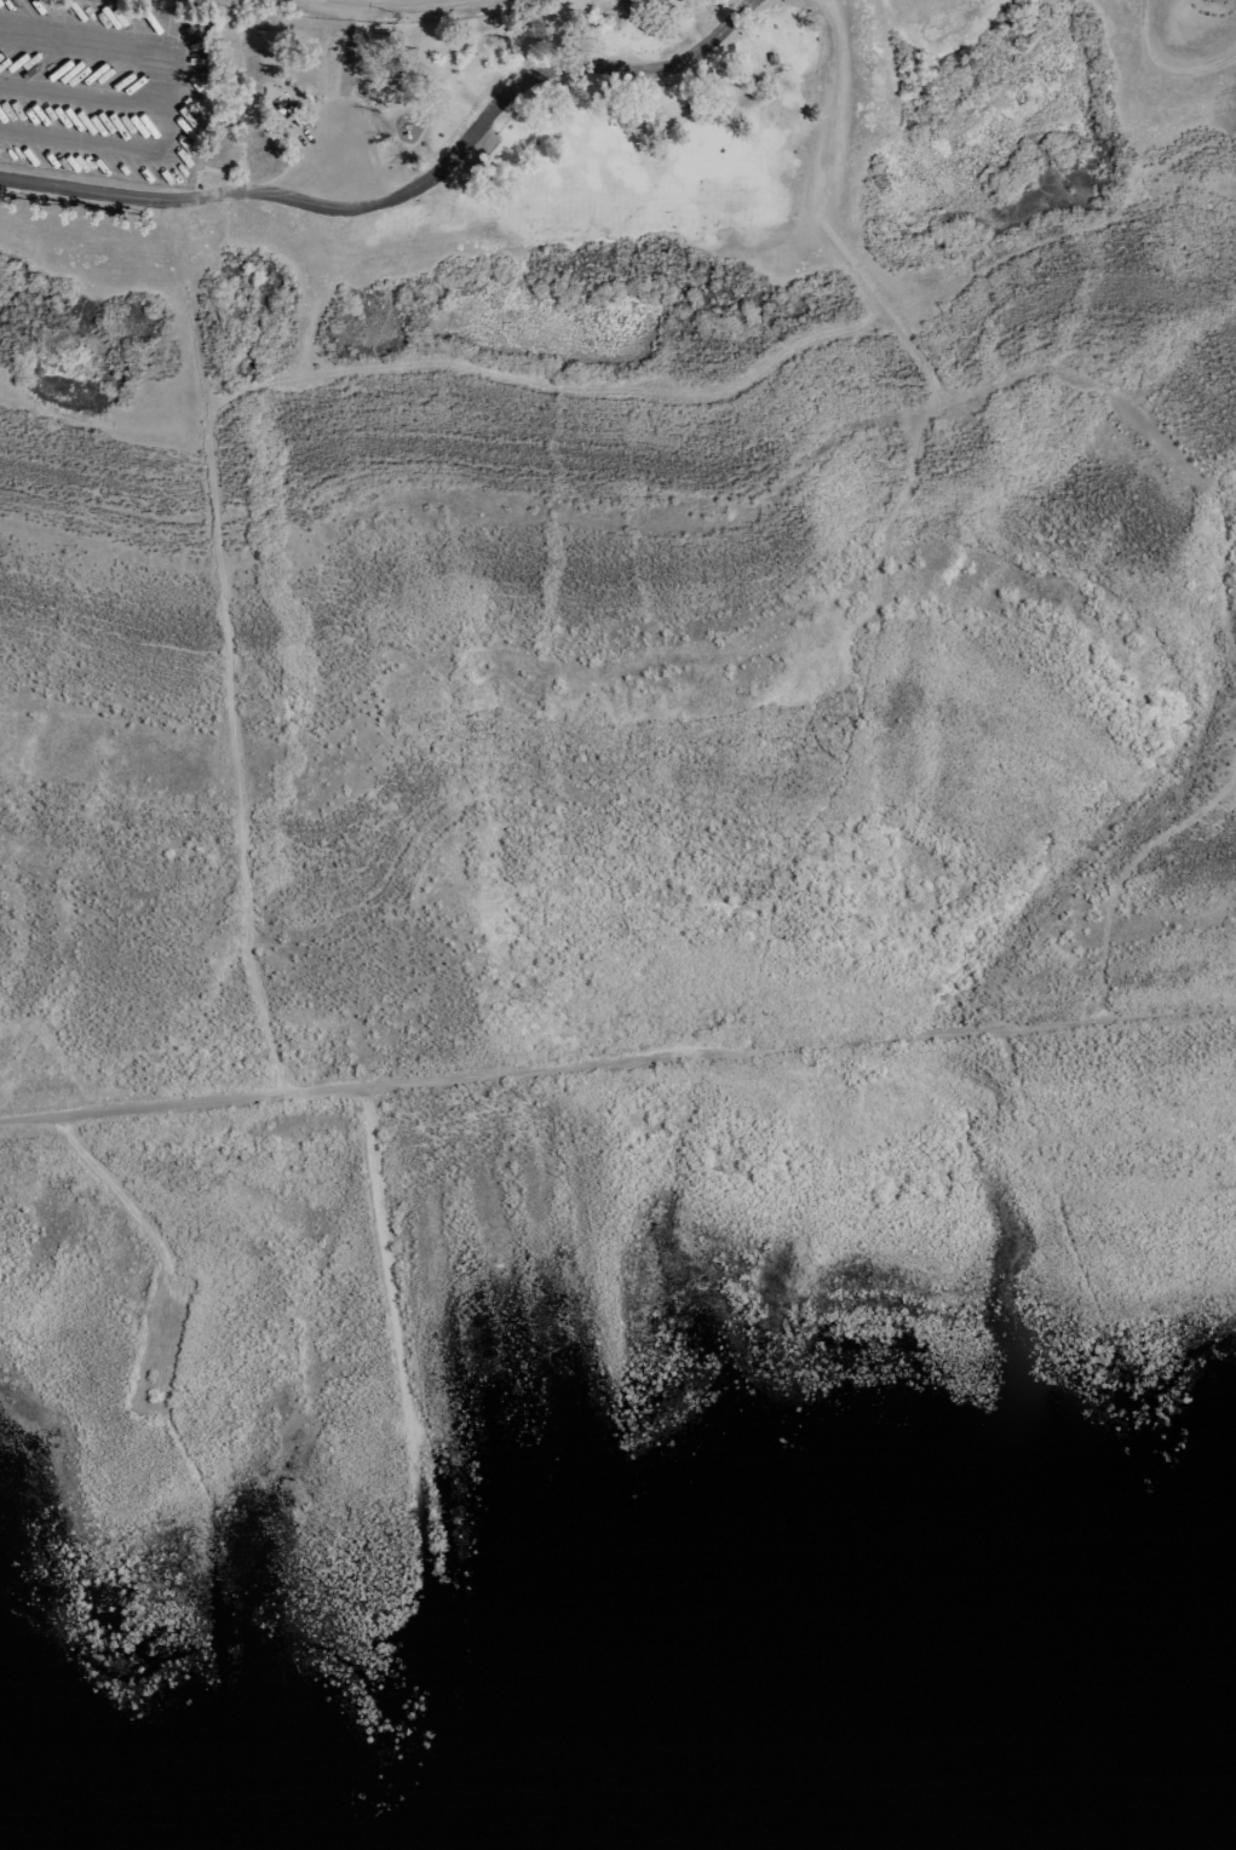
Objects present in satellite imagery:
parking lot: (100, 87)
road: (835, 109)
road: (341, 117)
road: (358, 182)
road: (409, 191)
road: (873, 292)
road: (547, 380)
road: (906, 493)
road: (225, 644)
park: (590, 775)
road: (1126, 872)
road: (1168, 1011)
road: (550, 1068)
road: (120, 1194)
road: (162, 1346)
road: (403, 1369)

